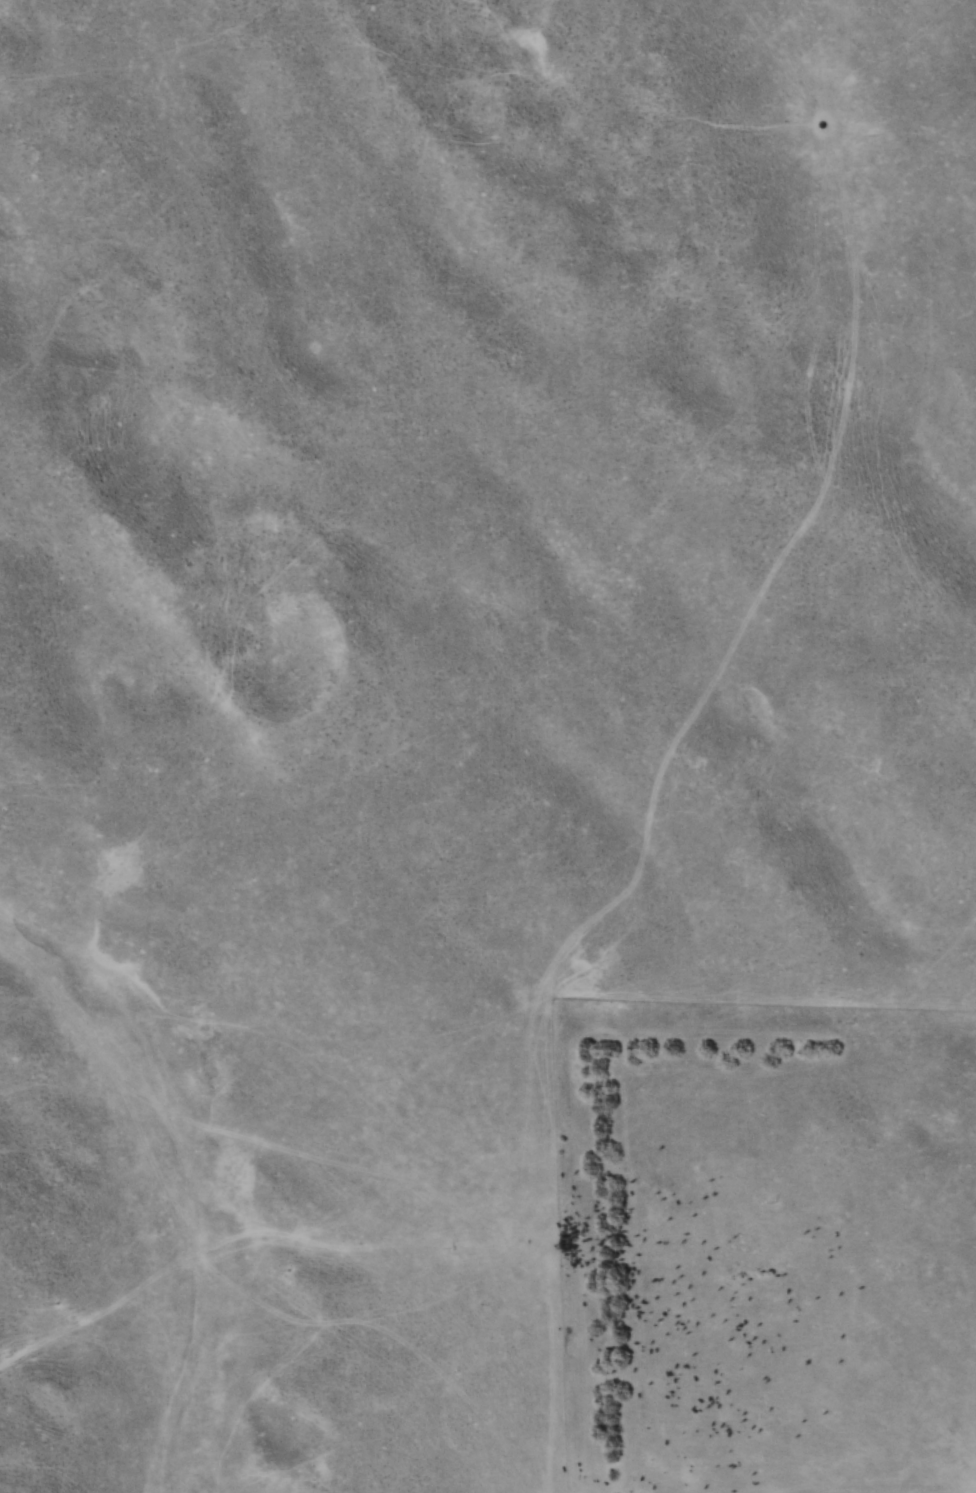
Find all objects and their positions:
building: (758, 1289)

